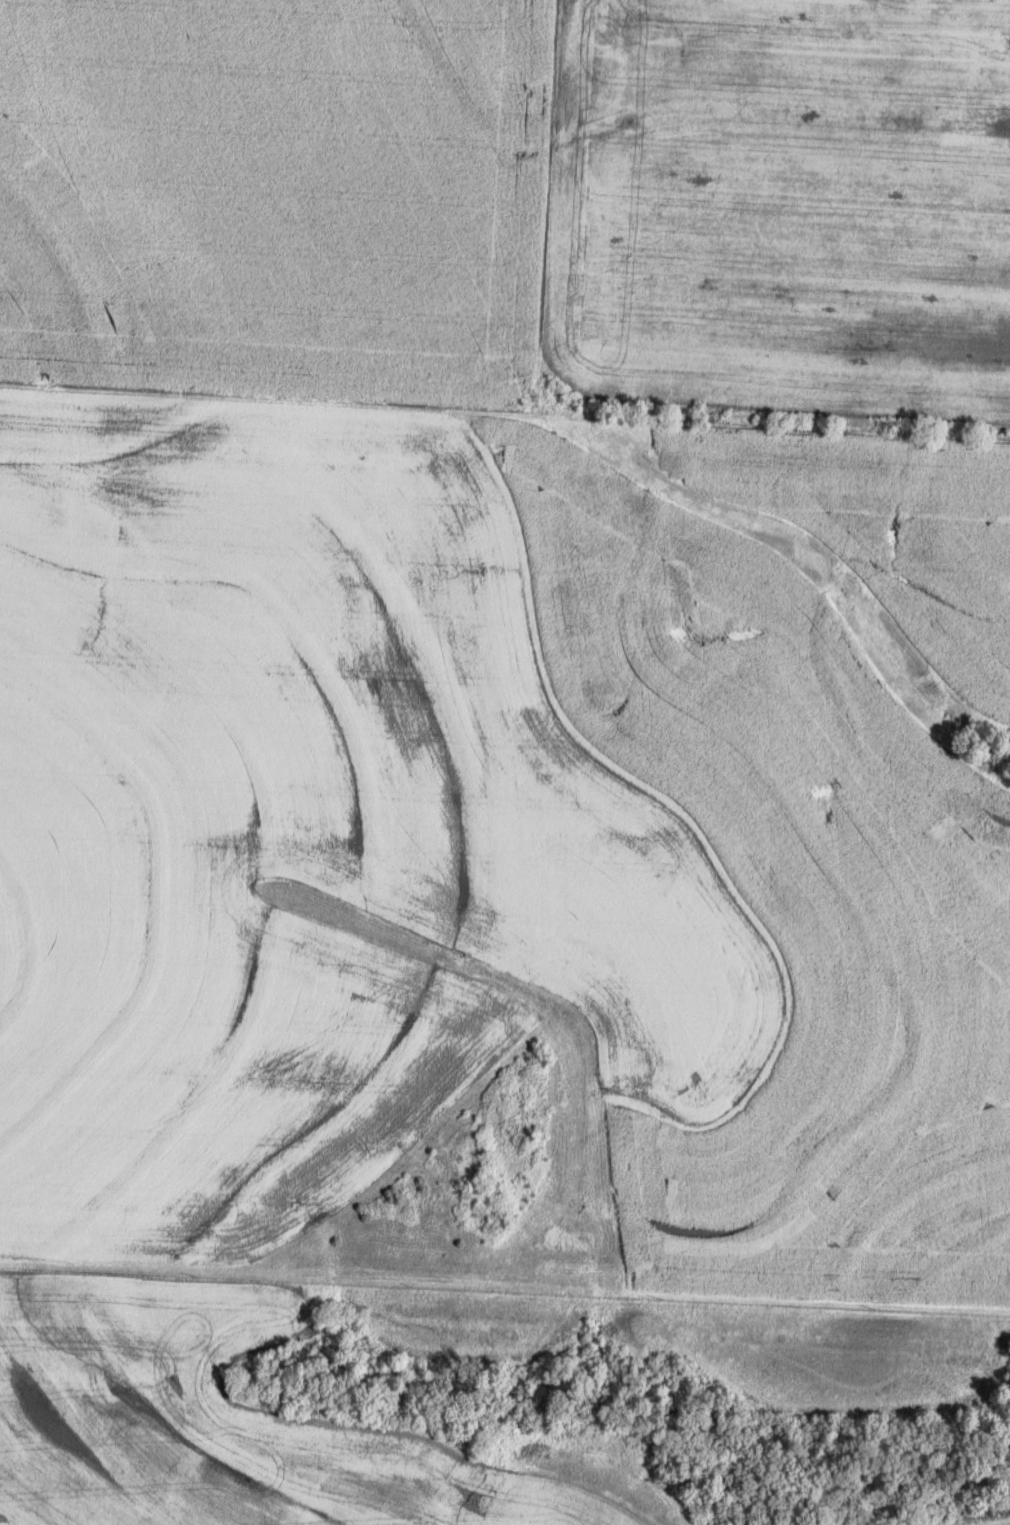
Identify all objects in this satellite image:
road: (505, 1280)

